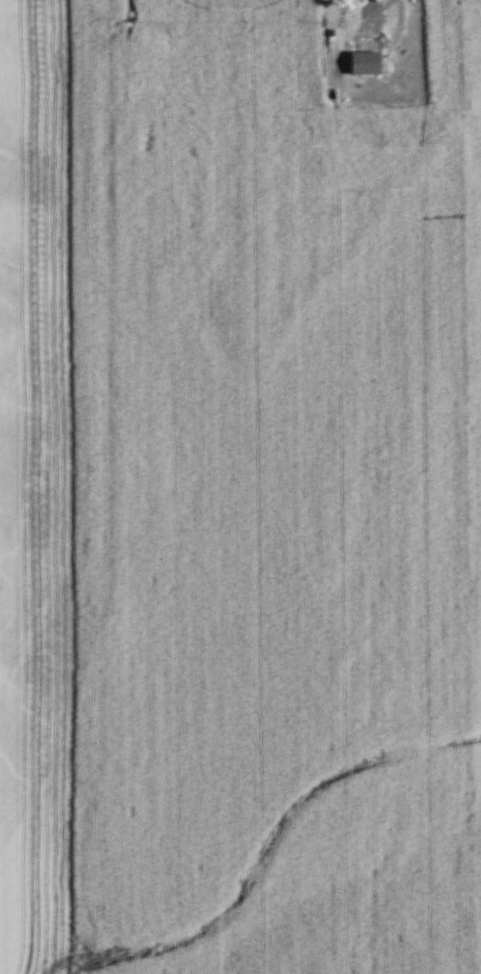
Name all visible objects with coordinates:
road: (377, 39)
building: (360, 62)

